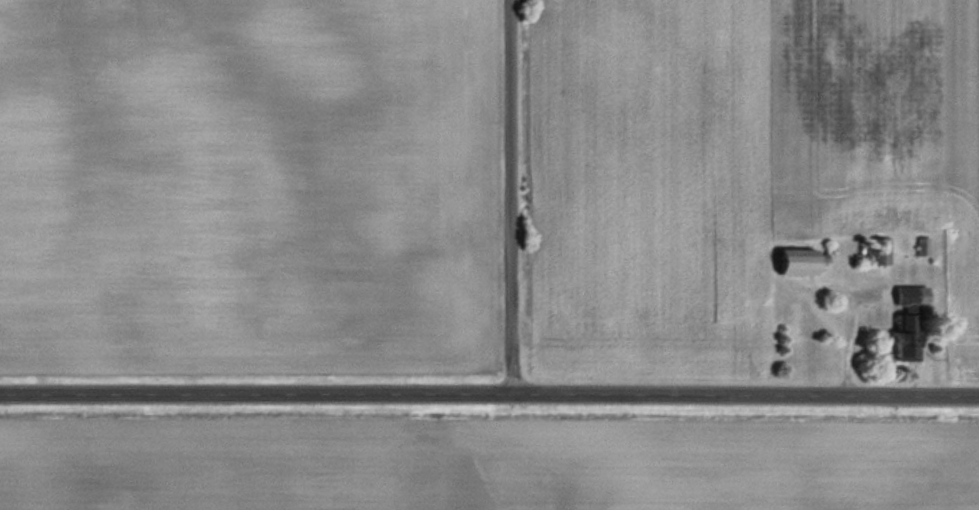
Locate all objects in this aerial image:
road: (514, 198)
building: (880, 251)
building: (797, 262)
building: (905, 337)
road: (489, 396)

